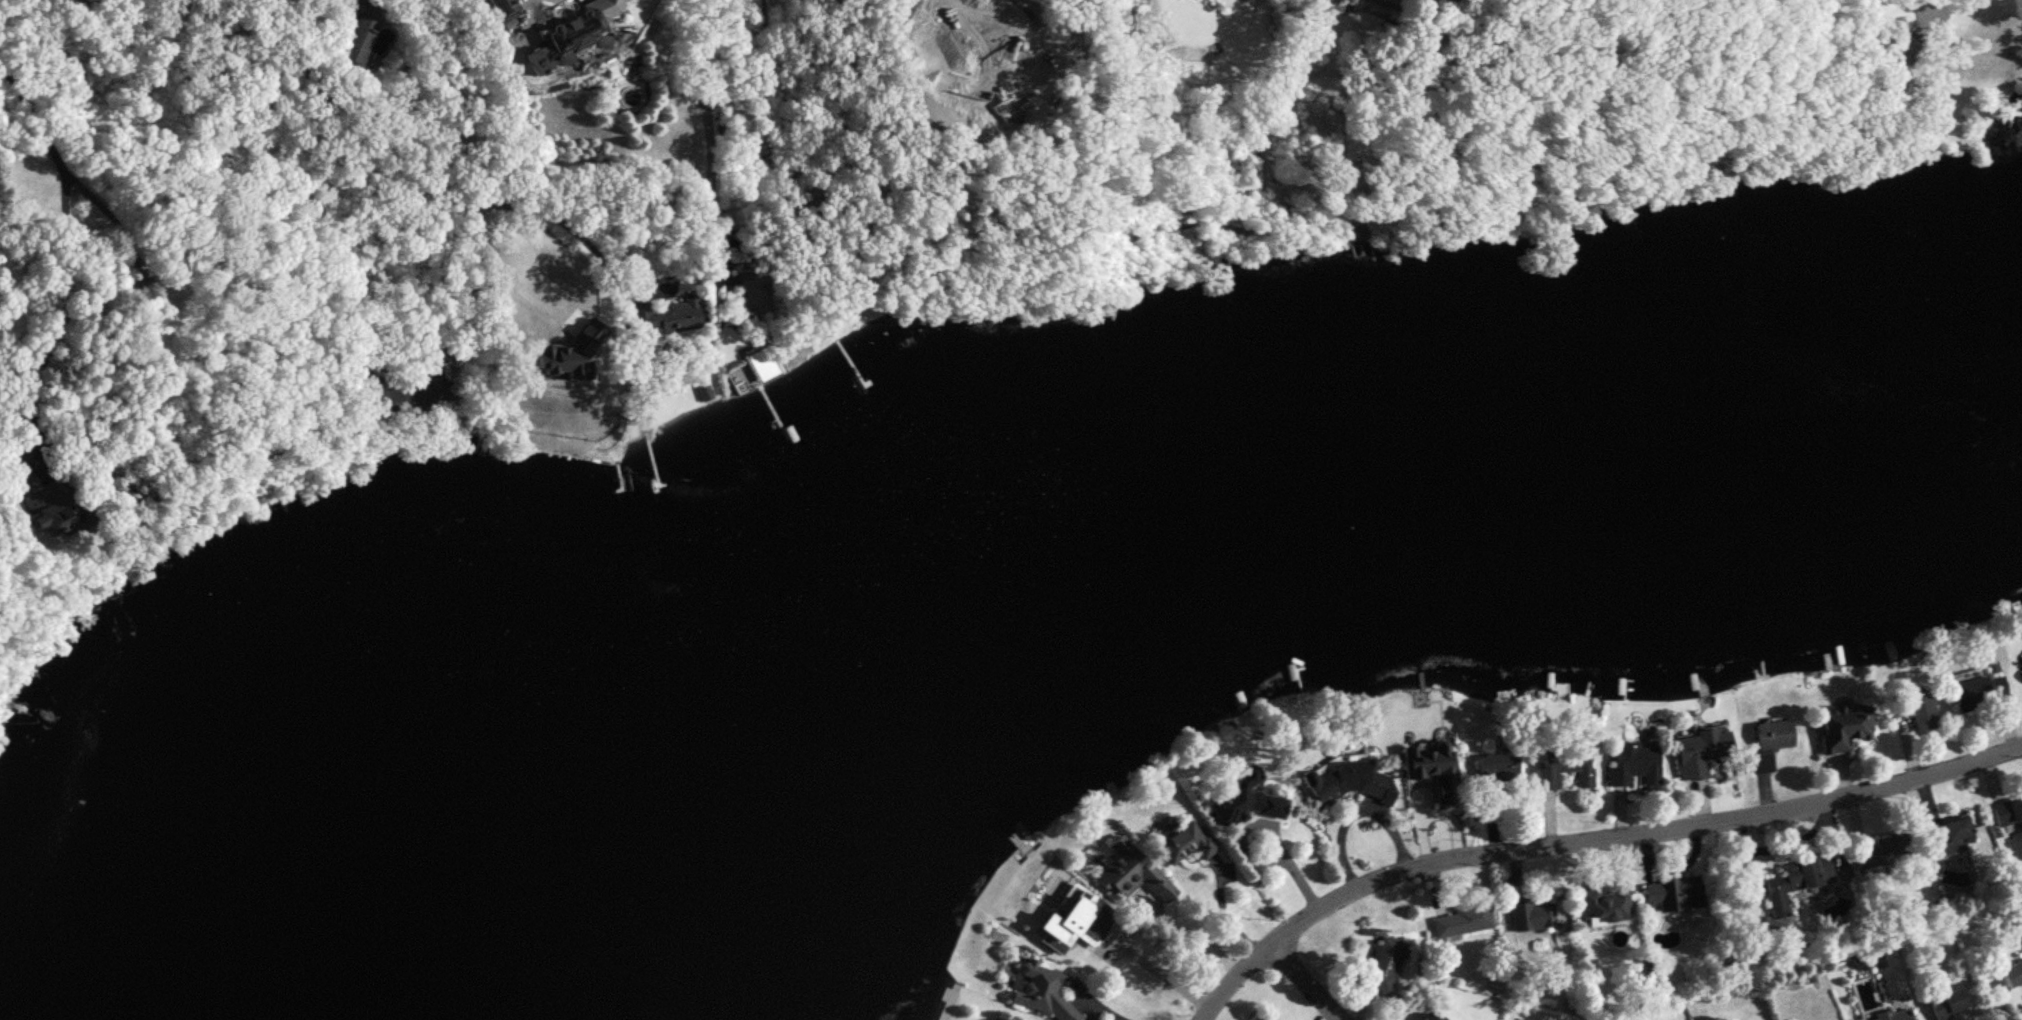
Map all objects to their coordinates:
building: (499, 9)
building: (369, 28)
road: (965, 28)
building: (571, 33)
building: (1893, 68)
building: (958, 89)
building: (626, 97)
road: (32, 113)
road: (342, 138)
road: (708, 152)
road: (597, 251)
road: (57, 288)
road: (465, 307)
building: (663, 315)
road: (572, 317)
building: (549, 364)
building: (397, 391)
building: (56, 505)
river: (1136, 514)
building: (2021, 669)
building: (1976, 689)
building: (1912, 709)
building: (1841, 725)
building: (1767, 741)
building: (1700, 751)
building: (1633, 762)
building: (1563, 764)
building: (1494, 765)
building: (1425, 776)
building: (1340, 779)
building: (1241, 797)
road: (1359, 811)
building: (2007, 811)
building: (1947, 836)
road: (1588, 838)
building: (1183, 841)
building: (1883, 849)
road: (1292, 868)
building: (1130, 872)
building: (1795, 880)
building: (1672, 893)
building: (1604, 903)
road: (1225, 908)
building: (1529, 913)
building: (1462, 919)
building: (1062, 921)
road: (1200, 933)
building: (1382, 962)
building: (2010, 973)
road: (1145, 975)
road: (1308, 981)
building: (1039, 991)
building: (1945, 1003)
road: (1103, 1005)
building: (1891, 1015)
building: (1423, 1016)
building: (1004, 1018)
building: (1439, 1018)
building: (1260, 1019)

